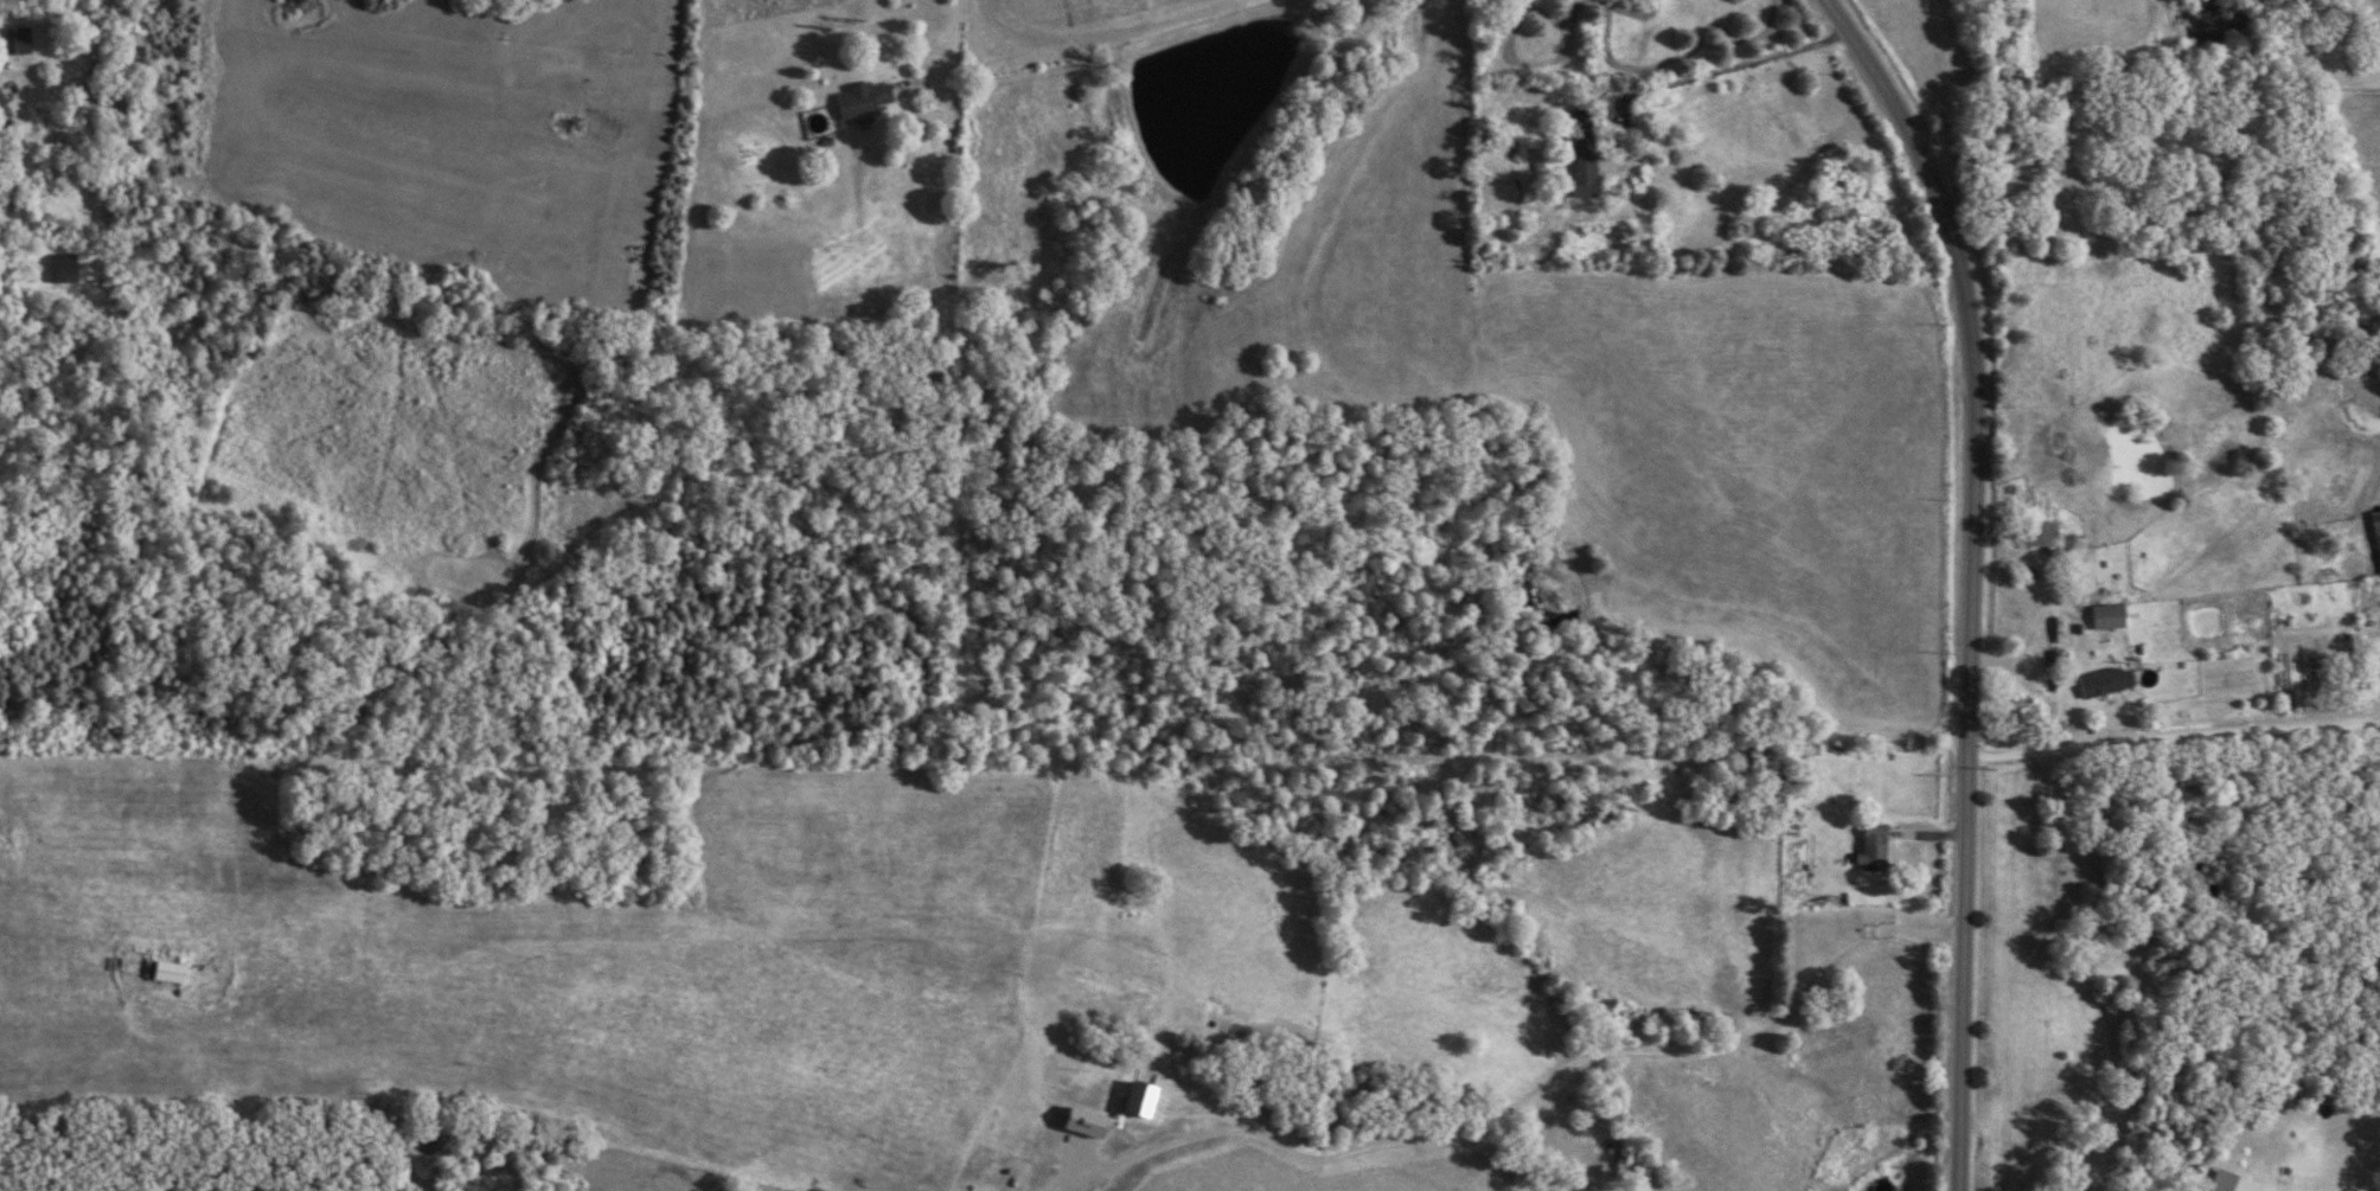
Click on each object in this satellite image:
building: (8, 40)
road: (948, 57)
road: (1736, 64)
building: (855, 100)
building: (1, 114)
road: (1153, 388)
building: (2375, 533)
building: (2042, 536)
road: (1976, 578)
building: (2111, 684)
building: (2016, 711)
road: (2175, 738)
building: (1867, 846)
road: (1538, 1086)

